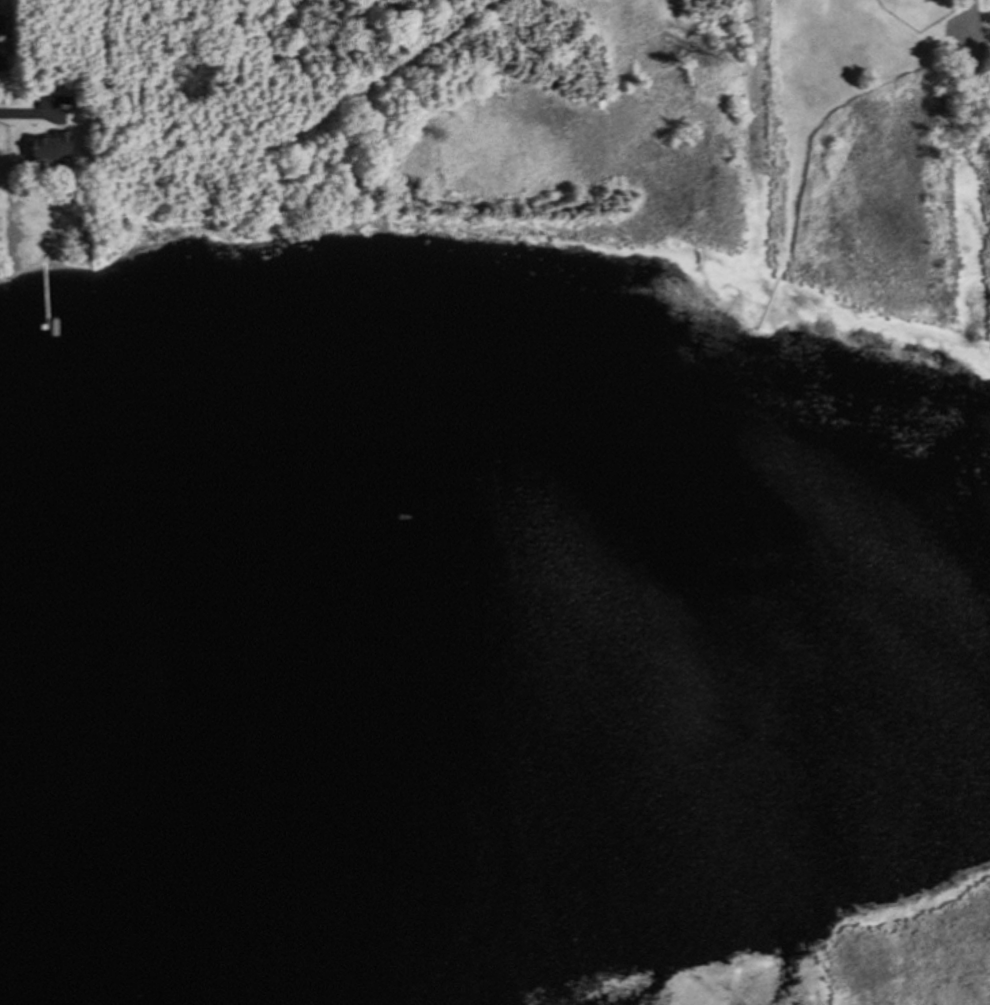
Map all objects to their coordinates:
road: (969, 25)
road: (32, 113)
building: (51, 141)
building: (83, 231)
building: (47, 248)
park: (915, 956)

